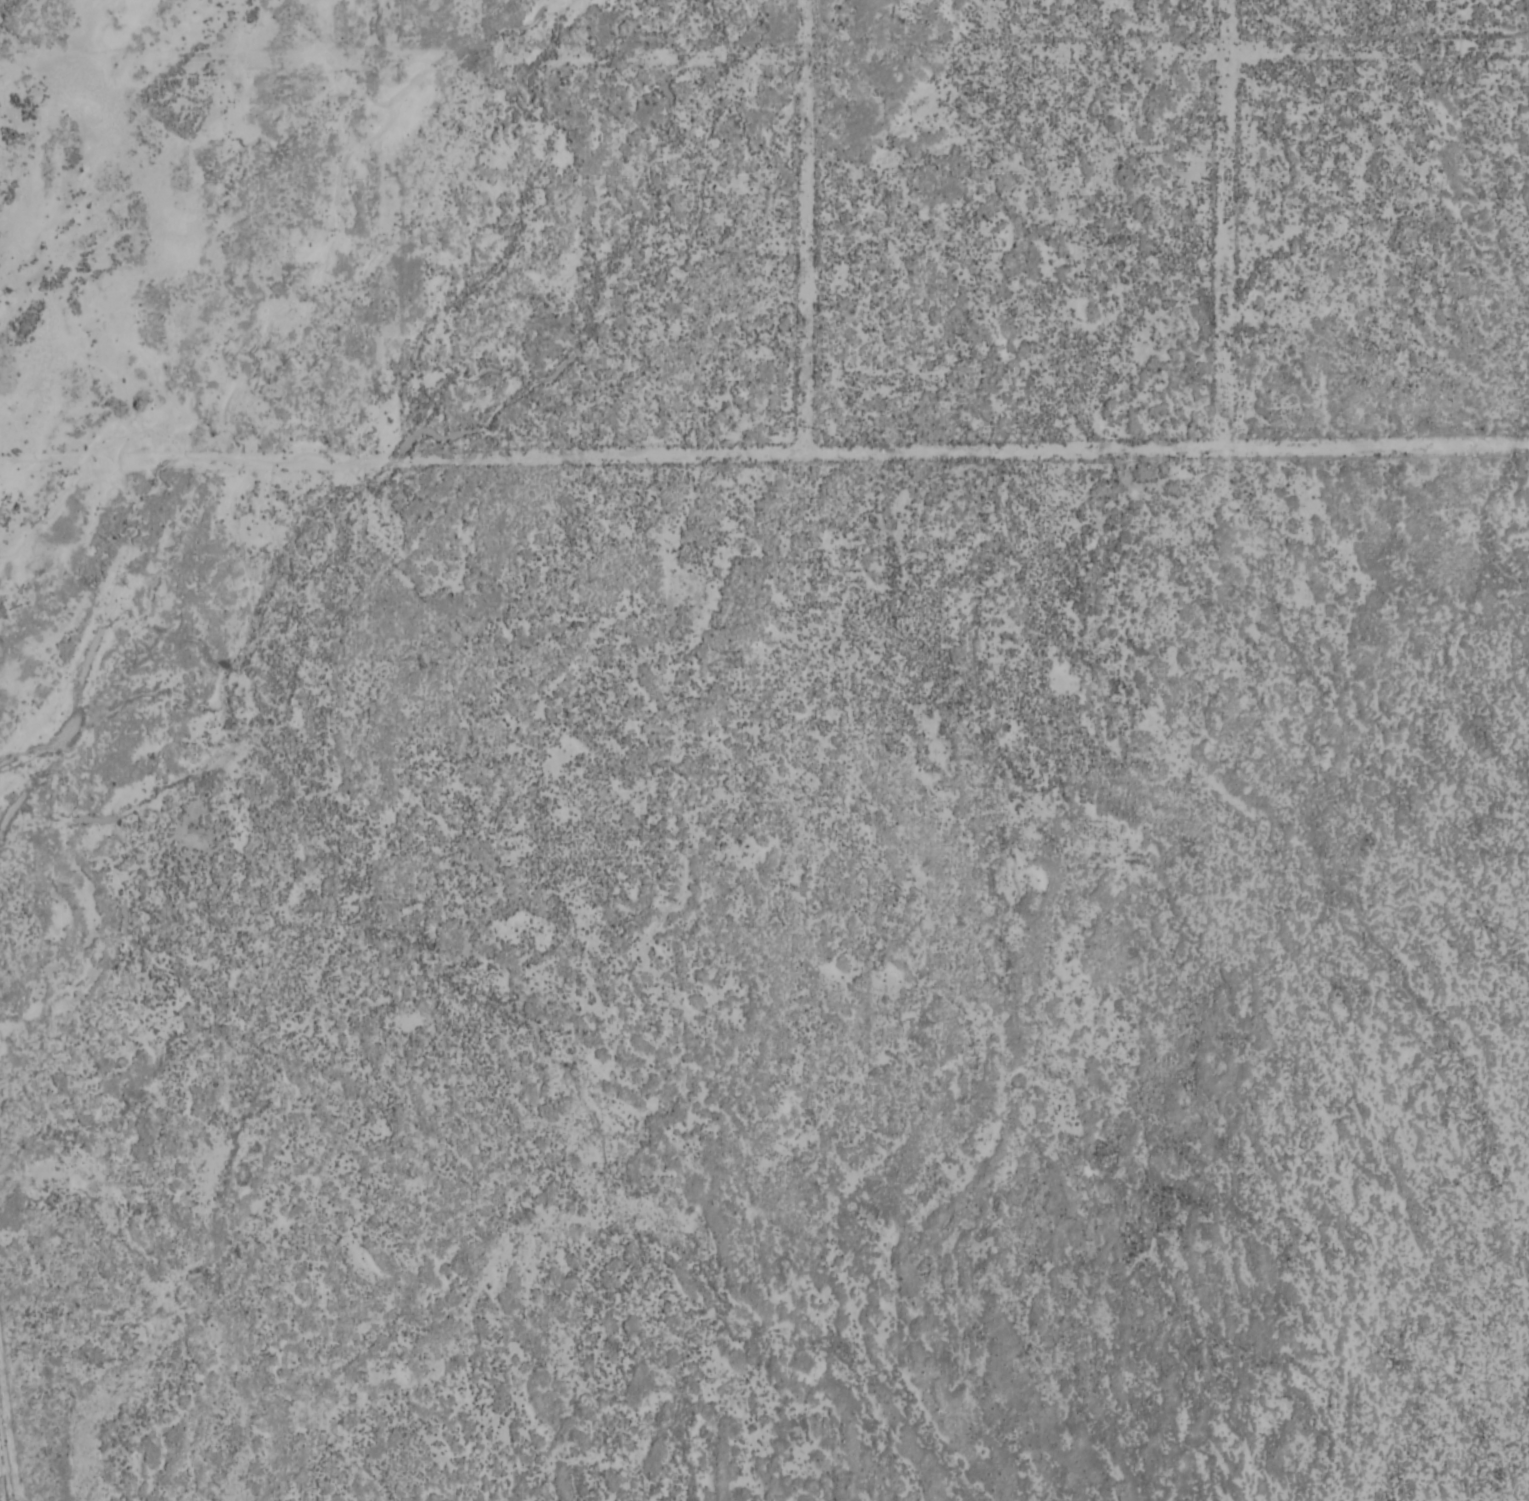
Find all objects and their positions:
road: (8, 1437)

